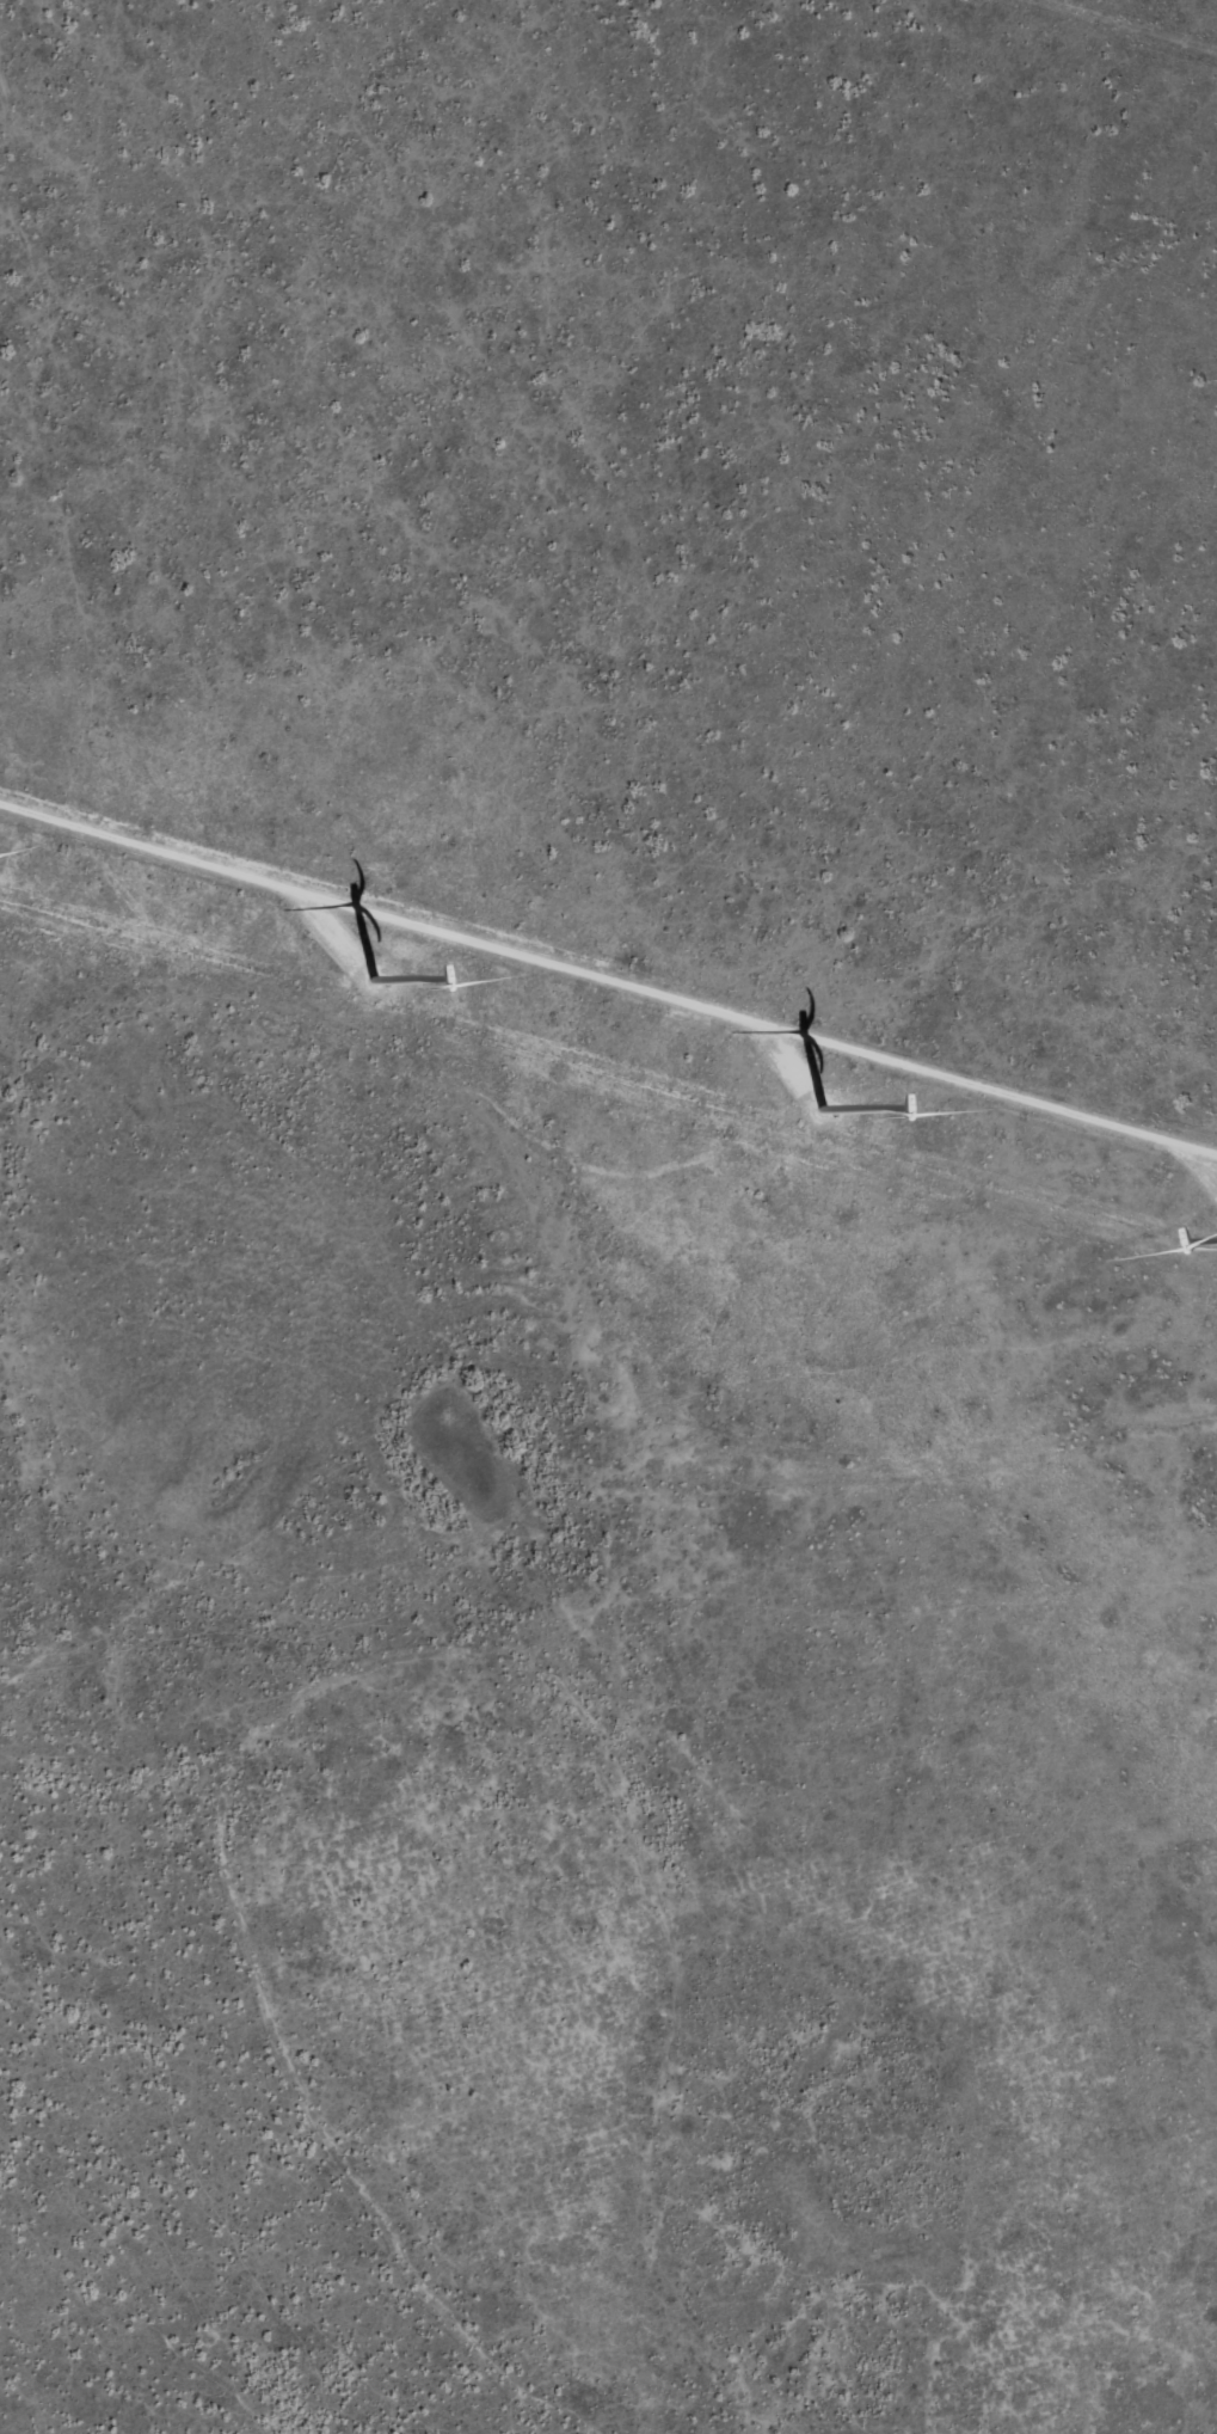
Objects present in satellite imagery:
wind turbine: (332, 930)
wind turbine: (852, 1124)

